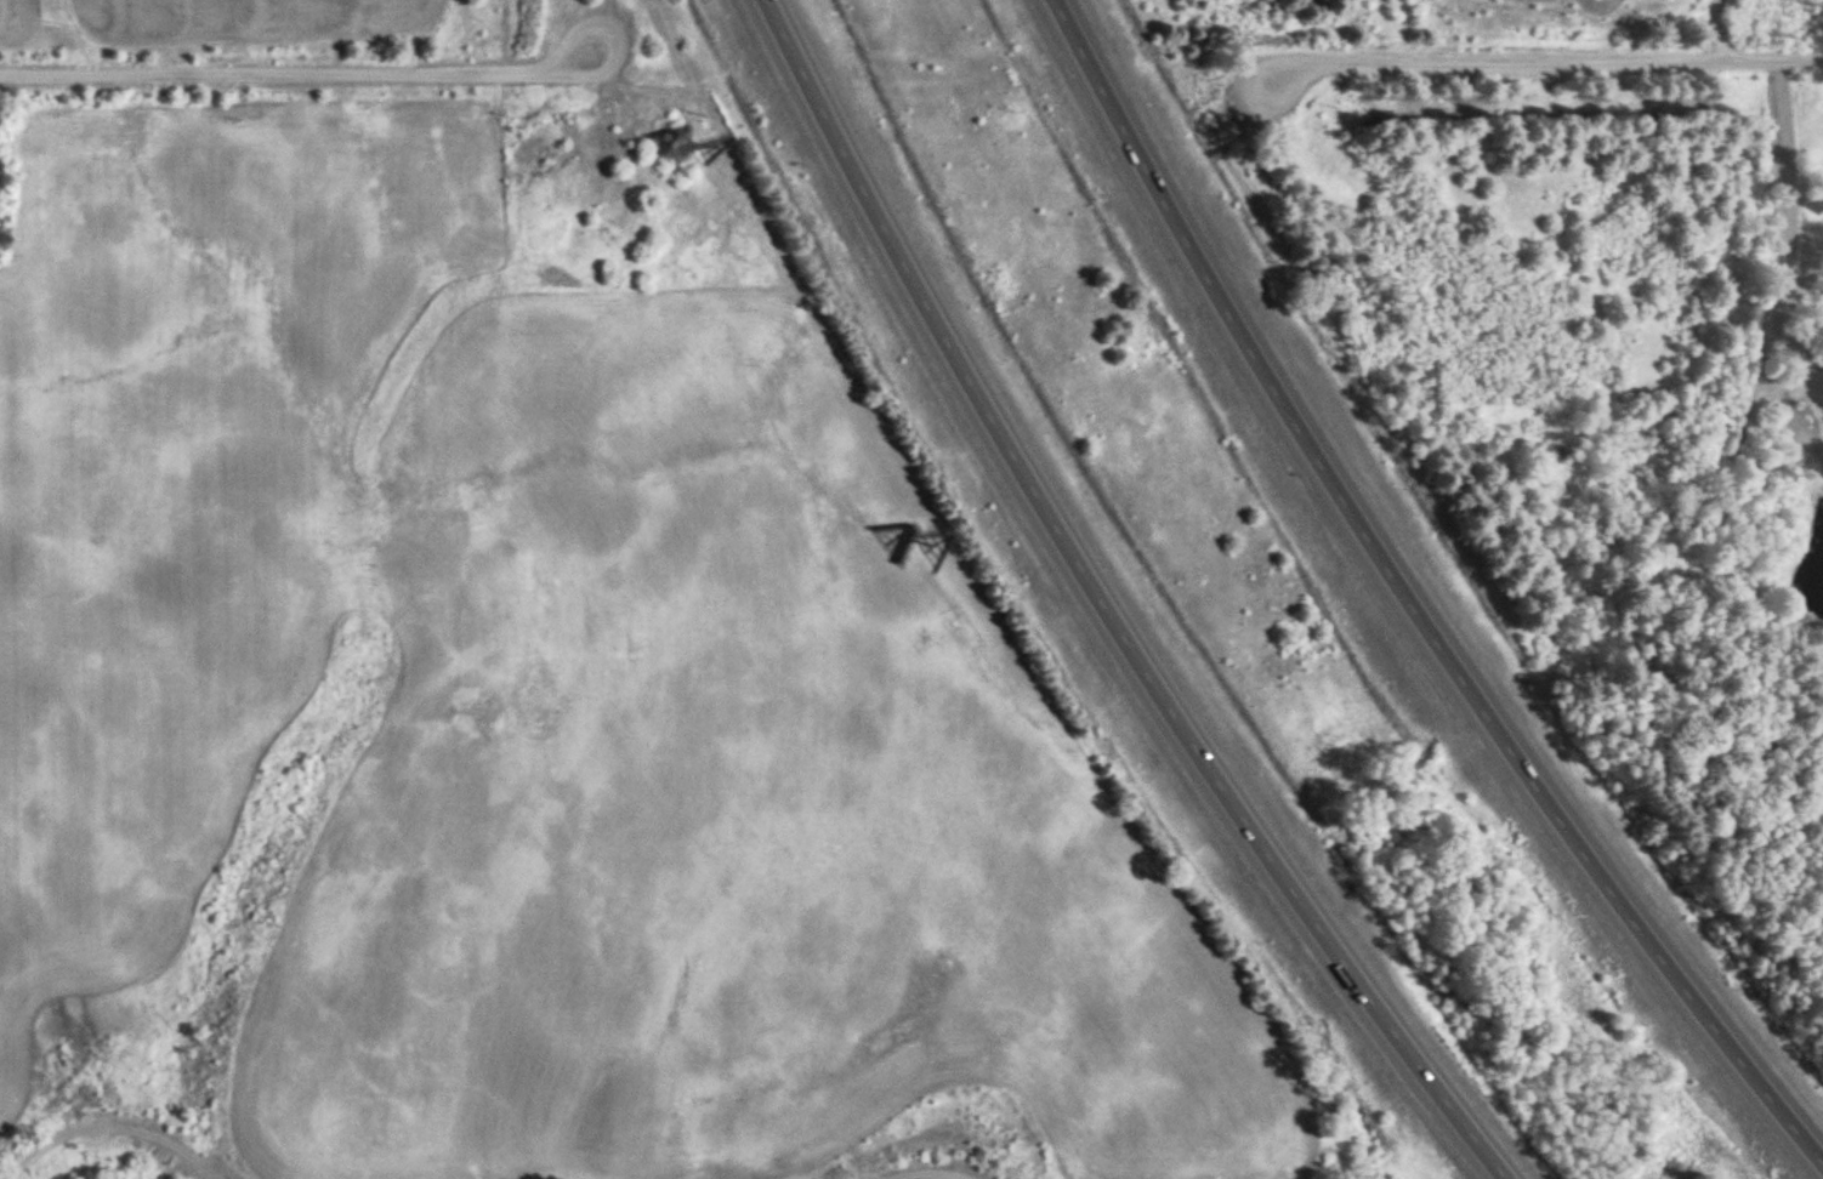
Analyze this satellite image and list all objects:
road: (1544, 59)
road: (301, 76)
building: (676, 148)
road: (1404, 600)
road: (1106, 609)

